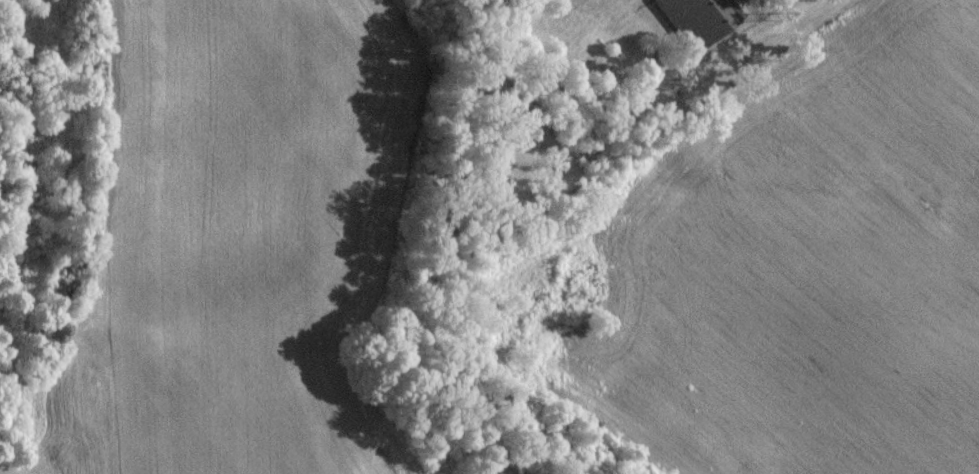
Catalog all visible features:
building: (695, 21)

